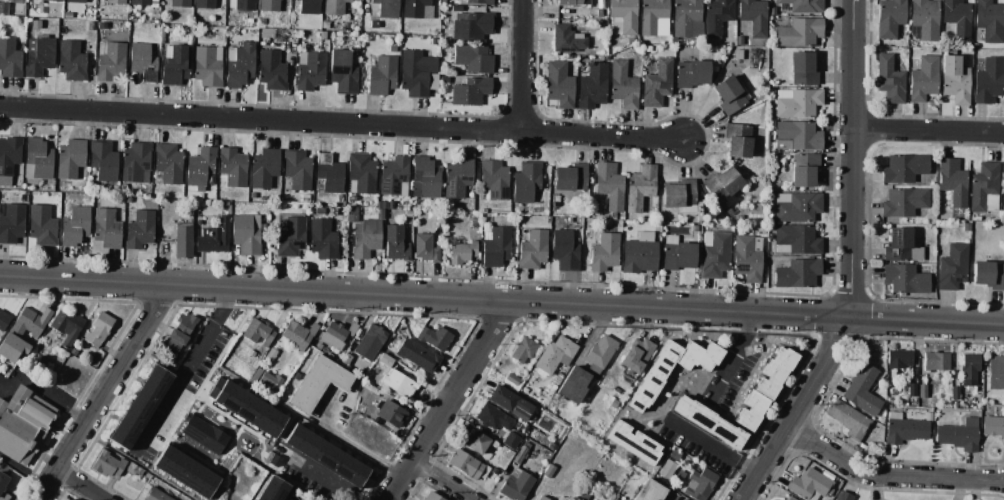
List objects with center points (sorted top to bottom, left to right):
building: (56, 0)
building: (76, 1)
building: (36, 2)
building: (115, 2)
building: (143, 2)
building: (479, 2)
building: (573, 2)
building: (179, 3)
building: (204, 4)
building: (242, 4)
building: (269, 5)
building: (803, 5)
building: (308, 6)
building: (334, 7)
building: (386, 8)
building: (4, 9)
building: (417, 9)
building: (771, 11)
building: (593, 13)
building: (67, 15)
building: (622, 16)
building: (685, 16)
building: (716, 16)
building: (753, 16)
building: (654, 18)
building: (890, 18)
building: (957, 18)
building: (924, 19)
building: (990, 19)
building: (249, 21)
building: (261, 23)
building: (35, 24)
building: (374, 24)
building: (324, 25)
building: (472, 27)
building: (800, 32)
building: (267, 33)
building: (324, 35)
building: (567, 39)
building: (739, 40)
building: (434, 41)
building: (630, 41)
building: (647, 49)
building: (392, 50)
building: (738, 55)
building: (40, 56)
building: (473, 58)
building: (9, 59)
building: (71, 61)
building: (144, 61)
building: (111, 62)
building: (175, 64)
building: (239, 64)
building: (208, 66)
road: (528, 67)
building: (713, 69)
building: (803, 69)
building: (271, 70)
building: (310, 70)
building: (343, 72)
building: (418, 73)
building: (691, 74)
building: (382, 76)
building: (923, 79)
building: (444, 80)
building: (890, 80)
building: (954, 80)
building: (988, 80)
building: (657, 84)
building: (559, 85)
building: (623, 85)
building: (592, 86)
building: (470, 91)
building: (771, 91)
building: (728, 95)
building: (797, 103)
building: (772, 125)
road: (341, 126)
road: (930, 132)
building: (797, 136)
building: (738, 140)
building: (9, 154)
building: (37, 159)
building: (70, 159)
road: (855, 159)
building: (103, 160)
building: (135, 162)
building: (168, 163)
building: (232, 167)
building: (264, 168)
building: (904, 168)
building: (200, 169)
building: (297, 169)
building: (805, 169)
building: (328, 174)
building: (361, 174)
building: (394, 176)
building: (457, 177)
building: (570, 177)
building: (1003, 177)
building: (425, 178)
building: (494, 179)
building: (526, 181)
building: (953, 181)
building: (609, 186)
building: (722, 187)
building: (114, 188)
building: (122, 188)
building: (984, 188)
building: (640, 190)
building: (25, 193)
building: (253, 195)
building: (680, 195)
building: (305, 198)
building: (96, 199)
building: (128, 200)
building: (904, 202)
building: (224, 203)
building: (391, 204)
building: (381, 205)
building: (796, 207)
building: (516, 209)
building: (320, 211)
building: (729, 213)
building: (408, 214)
building: (739, 217)
building: (977, 218)
building: (475, 221)
building: (487, 221)
building: (11, 223)
building: (333, 224)
building: (973, 224)
building: (42, 226)
building: (74, 226)
building: (107, 227)
building: (966, 227)
building: (695, 228)
building: (139, 230)
building: (761, 231)
building: (246, 233)
building: (291, 236)
building: (214, 238)
building: (365, 238)
building: (798, 238)
building: (322, 239)
building: (183, 240)
building: (396, 243)
building: (496, 246)
building: (901, 246)
building: (425, 248)
building: (533, 250)
building: (564, 250)
building: (462, 252)
building: (604, 252)
building: (639, 254)
building: (677, 254)
building: (715, 254)
building: (747, 257)
building: (952, 267)
building: (797, 273)
building: (989, 273)
building: (905, 279)
road: (425, 297)
building: (3, 319)
road: (928, 321)
building: (67, 326)
building: (182, 328)
building: (98, 329)
building: (22, 332)
building: (257, 332)
building: (299, 334)
building: (337, 334)
building: (434, 337)
building: (370, 341)
building: (388, 345)
building: (318, 347)
building: (522, 349)
building: (601, 351)
building: (72, 352)
building: (251, 353)
building: (271, 354)
building: (417, 355)
building: (636, 355)
building: (698, 356)
road: (728, 356)
building: (556, 357)
building: (345, 359)
building: (898, 359)
building: (385, 360)
building: (935, 361)
road: (182, 370)
building: (969, 370)
building: (996, 373)
building: (255, 375)
building: (654, 377)
building: (512, 379)
building: (269, 382)
building: (318, 383)
building: (399, 383)
building: (573, 385)
road: (39, 387)
building: (764, 387)
building: (893, 390)
building: (912, 390)
building: (863, 391)
building: (922, 391)
road: (103, 393)
building: (954, 394)
road: (450, 402)
building: (509, 402)
building: (888, 406)
building: (140, 407)
building: (246, 407)
road: (797, 408)
building: (985, 409)
building: (390, 413)
building: (492, 418)
building: (849, 419)
building: (707, 422)
building: (22, 424)
building: (992, 426)
building: (904, 429)
building: (202, 434)
building: (959, 435)
building: (511, 441)
building: (474, 442)
building: (634, 443)
building: (551, 447)
road: (712, 448)
building: (520, 455)
building: (326, 456)
building: (269, 457)
building: (107, 464)
building: (465, 464)
building: (690, 466)
building: (667, 469)
building: (483, 471)
building: (549, 471)
road: (22, 472)
building: (185, 472)
road: (888, 476)
road: (314, 479)
road: (442, 482)
building: (3, 483)
building: (700, 484)
road: (79, 485)
building: (517, 485)
building: (809, 485)
building: (273, 489)
building: (650, 491)
building: (156, 494)
building: (584, 495)
building: (670, 496)
building: (843, 496)
building: (431, 497)
building: (542, 498)
building: (790, 498)
building: (71, 499)
building: (74, 499)

